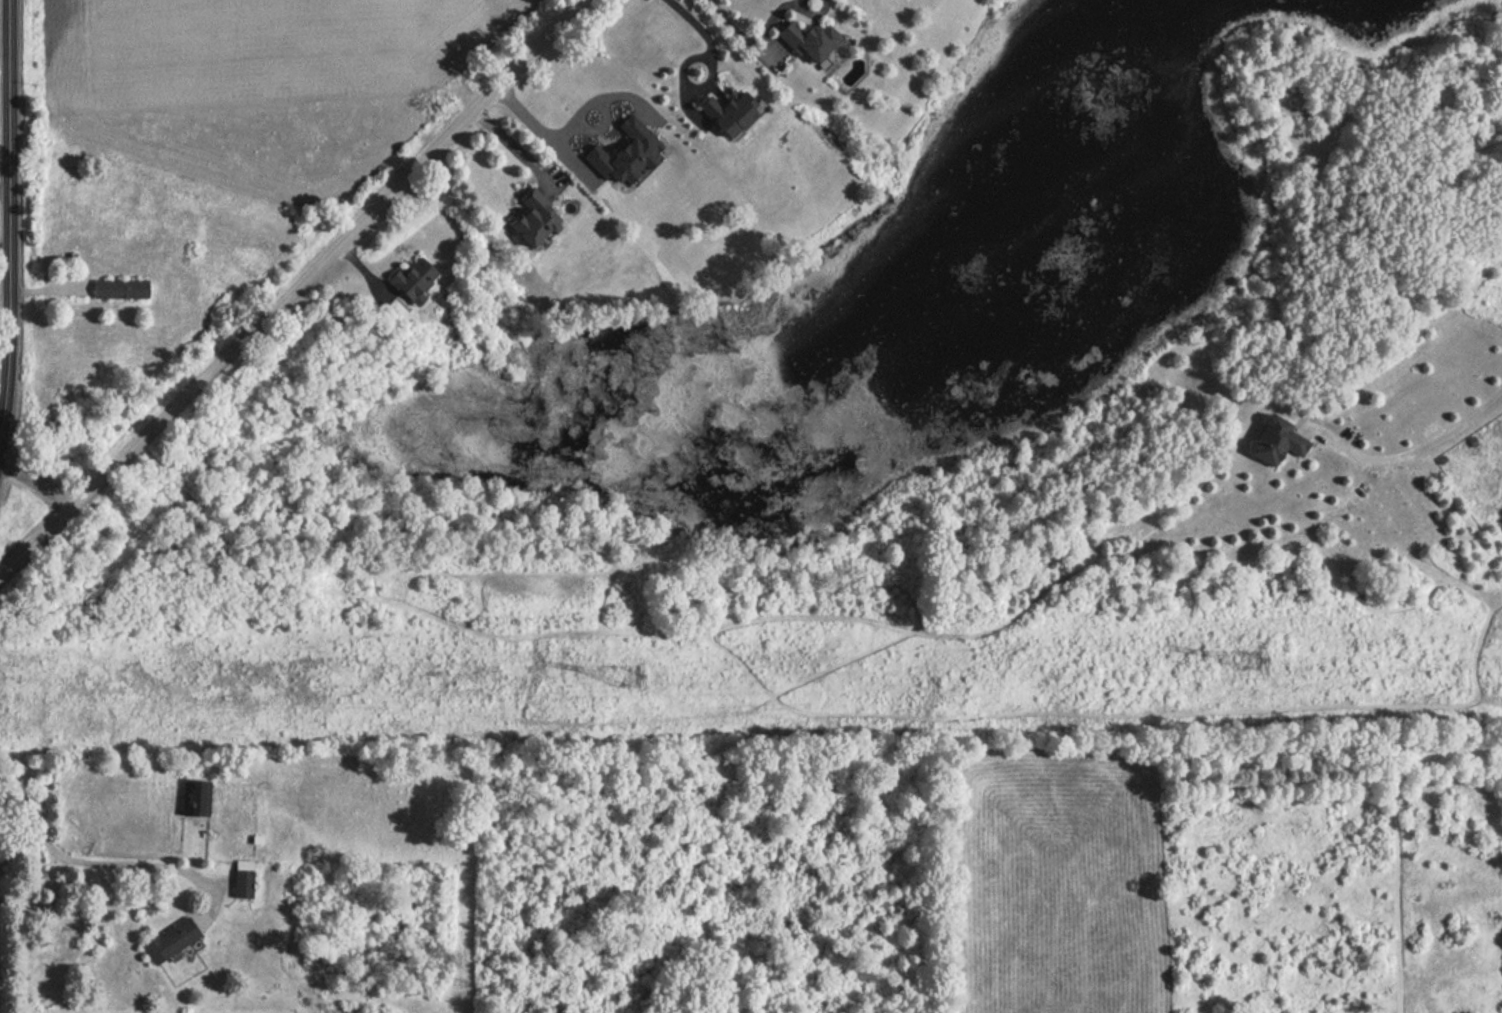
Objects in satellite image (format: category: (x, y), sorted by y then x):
road: (797, 1)
road: (811, 14)
road: (701, 23)
road: (749, 38)
road: (7, 39)
building: (808, 44)
road: (688, 78)
crop: (261, 81)
road: (686, 101)
building: (723, 114)
road: (537, 132)
building: (529, 221)
road: (5, 251)
road: (11, 256)
building: (408, 280)
building: (117, 289)
road: (293, 289)
building: (1273, 442)
road: (1411, 446)
road: (38, 485)
power tower: (1235, 659)
power tower: (611, 675)
building: (193, 798)
road: (99, 864)
building: (238, 879)
building: (166, 940)

